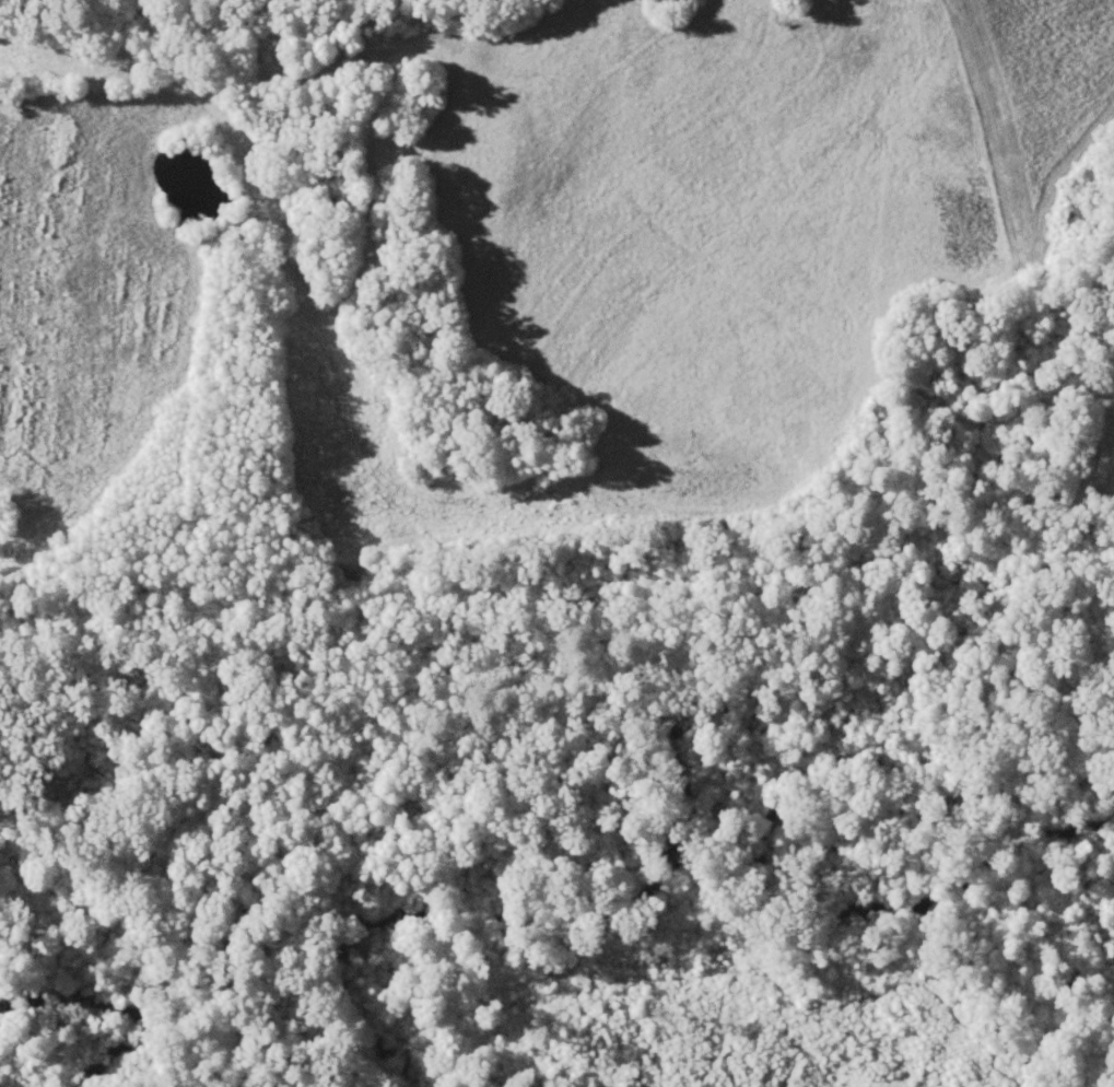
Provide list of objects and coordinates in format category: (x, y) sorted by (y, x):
railway: (556, 582)

